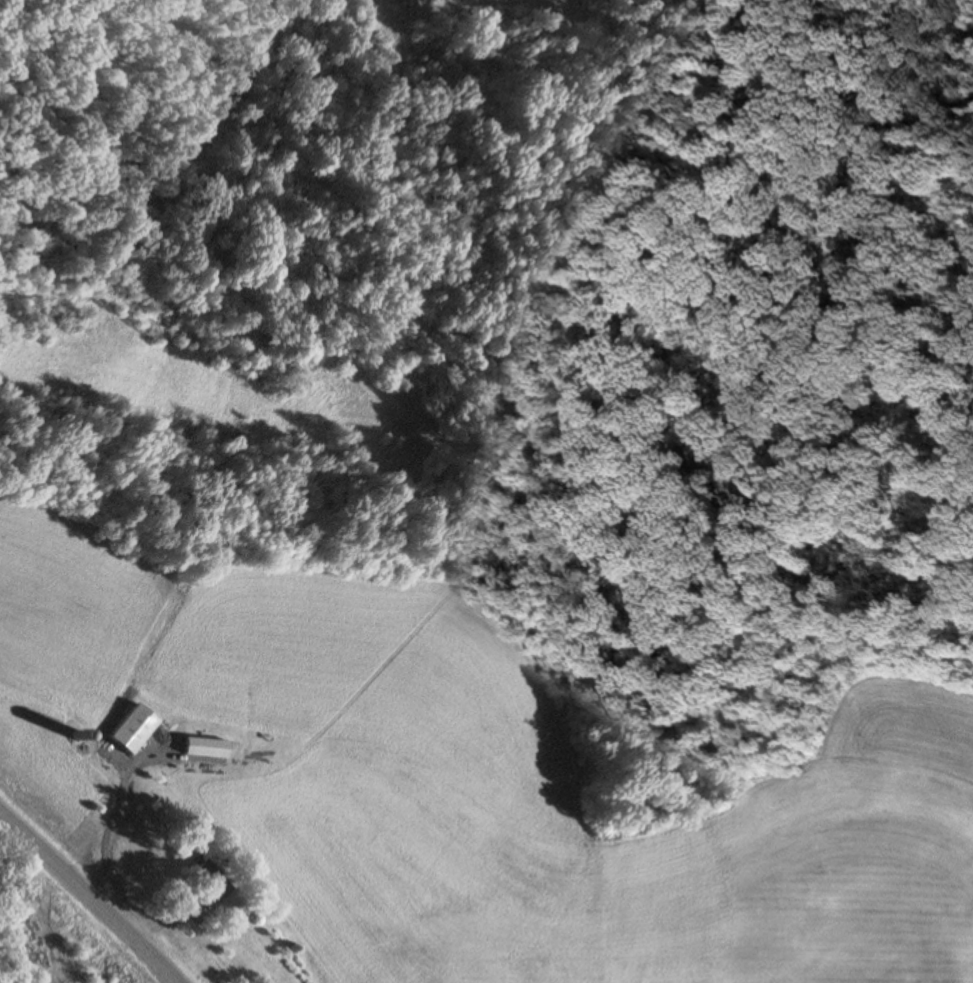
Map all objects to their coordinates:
building: (128, 729)
building: (201, 748)
building: (205, 880)
road: (88, 899)

